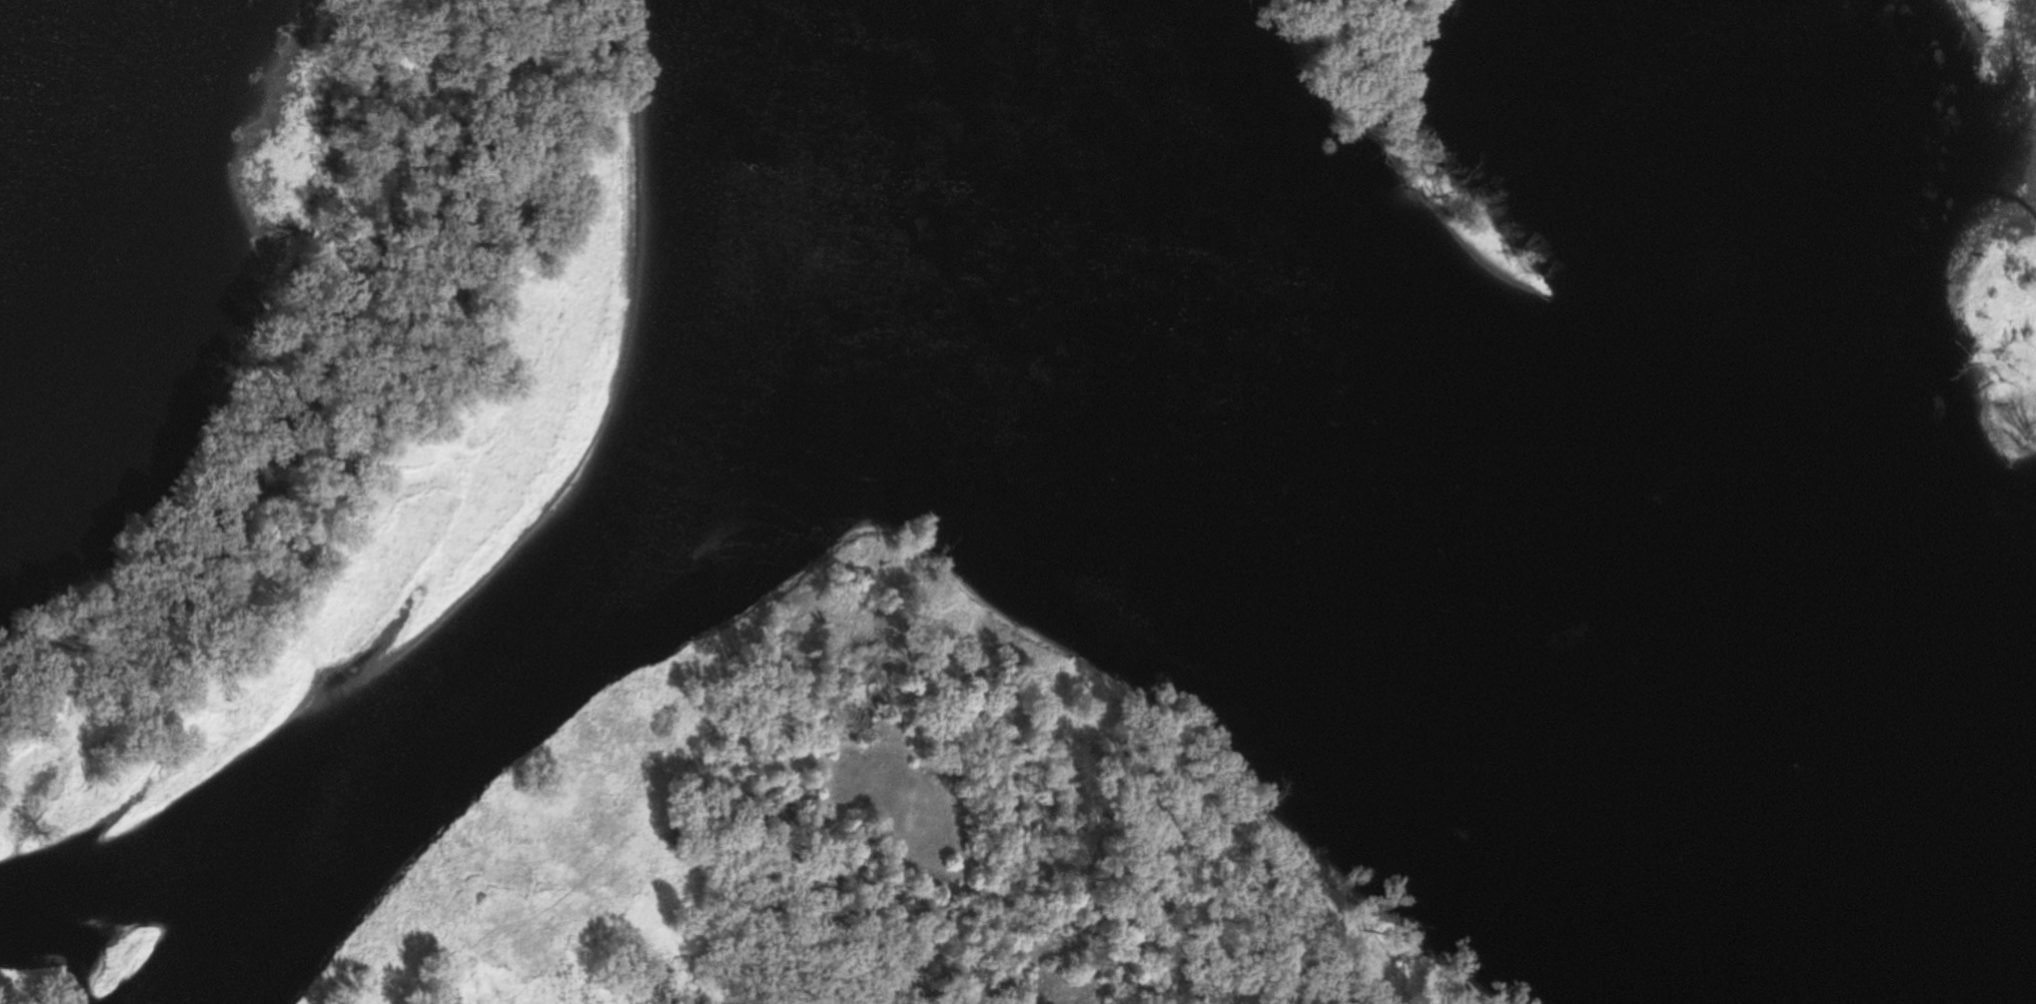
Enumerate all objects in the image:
river: (605, 564)
river: (145, 882)

